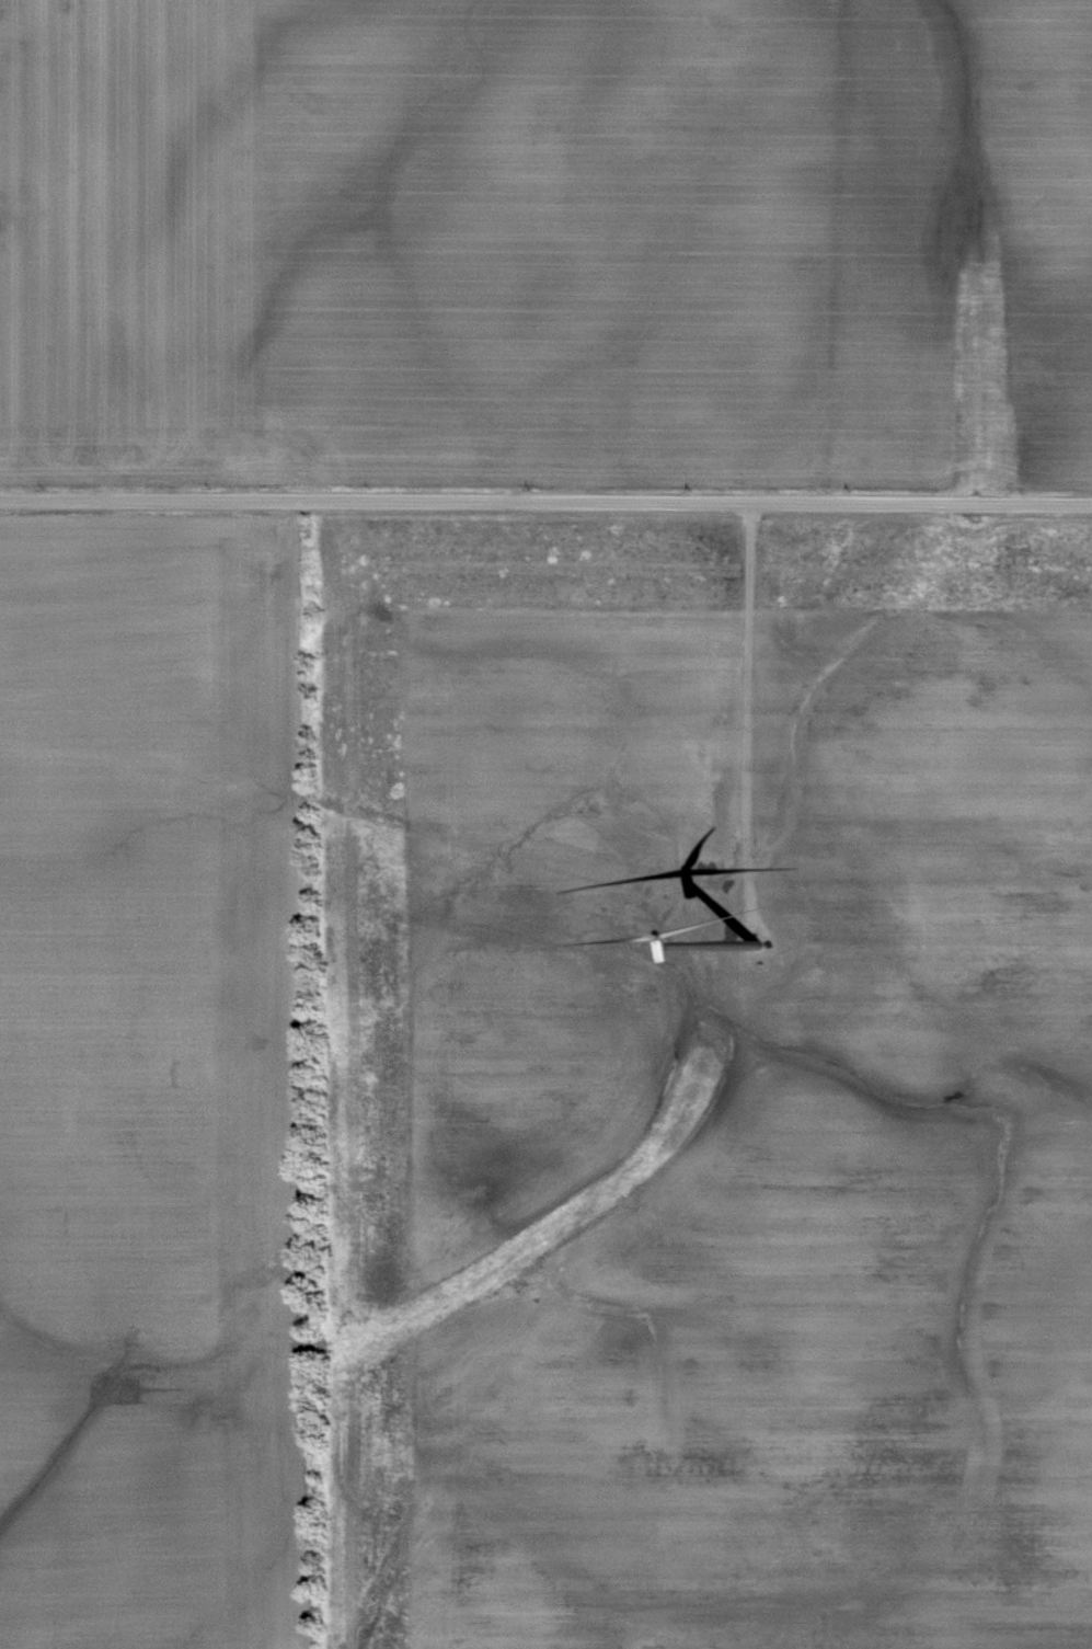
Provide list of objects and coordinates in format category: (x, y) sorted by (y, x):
road: (545, 501)
wind turbine: (749, 946)

